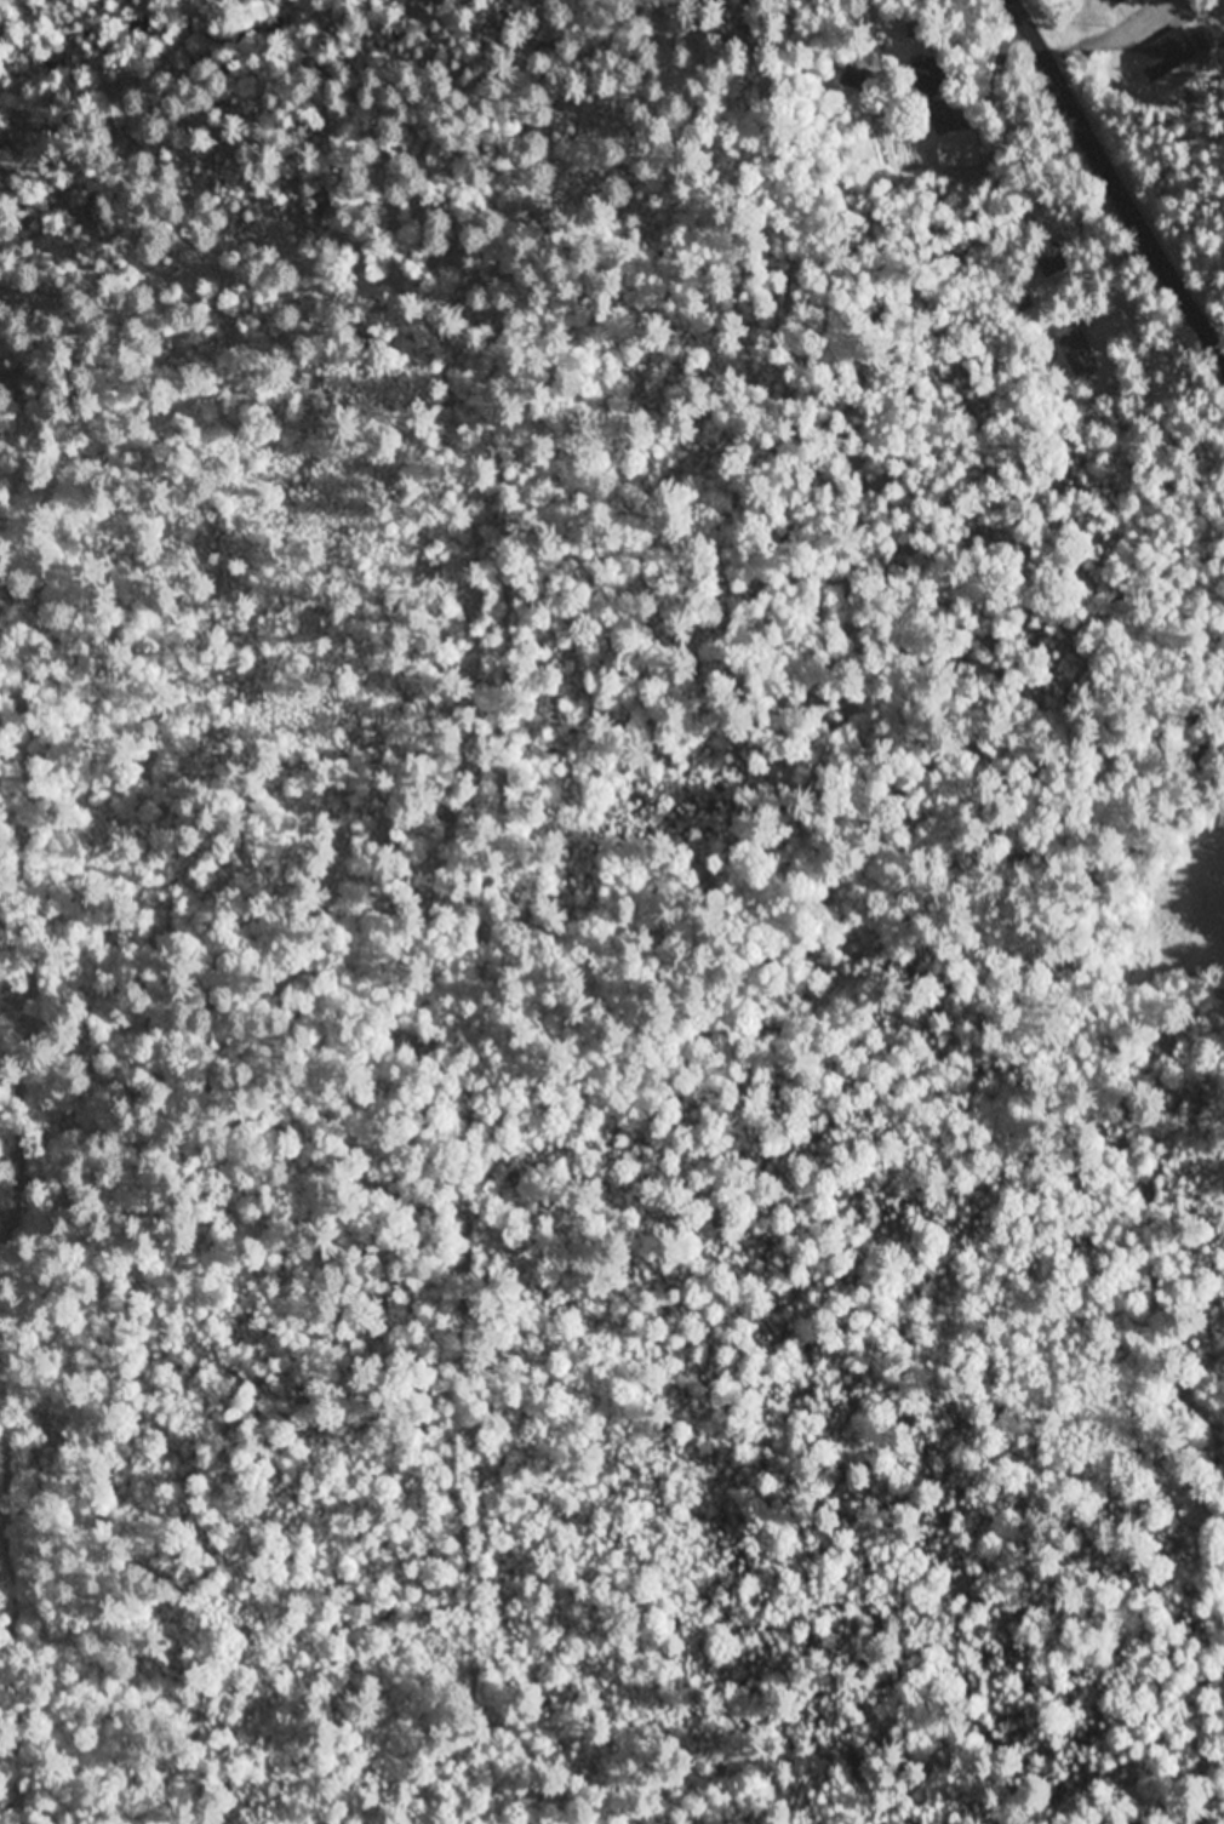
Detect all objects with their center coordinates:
building: (1123, 1)
building: (955, 151)
road: (1119, 176)
building: (1070, 351)

